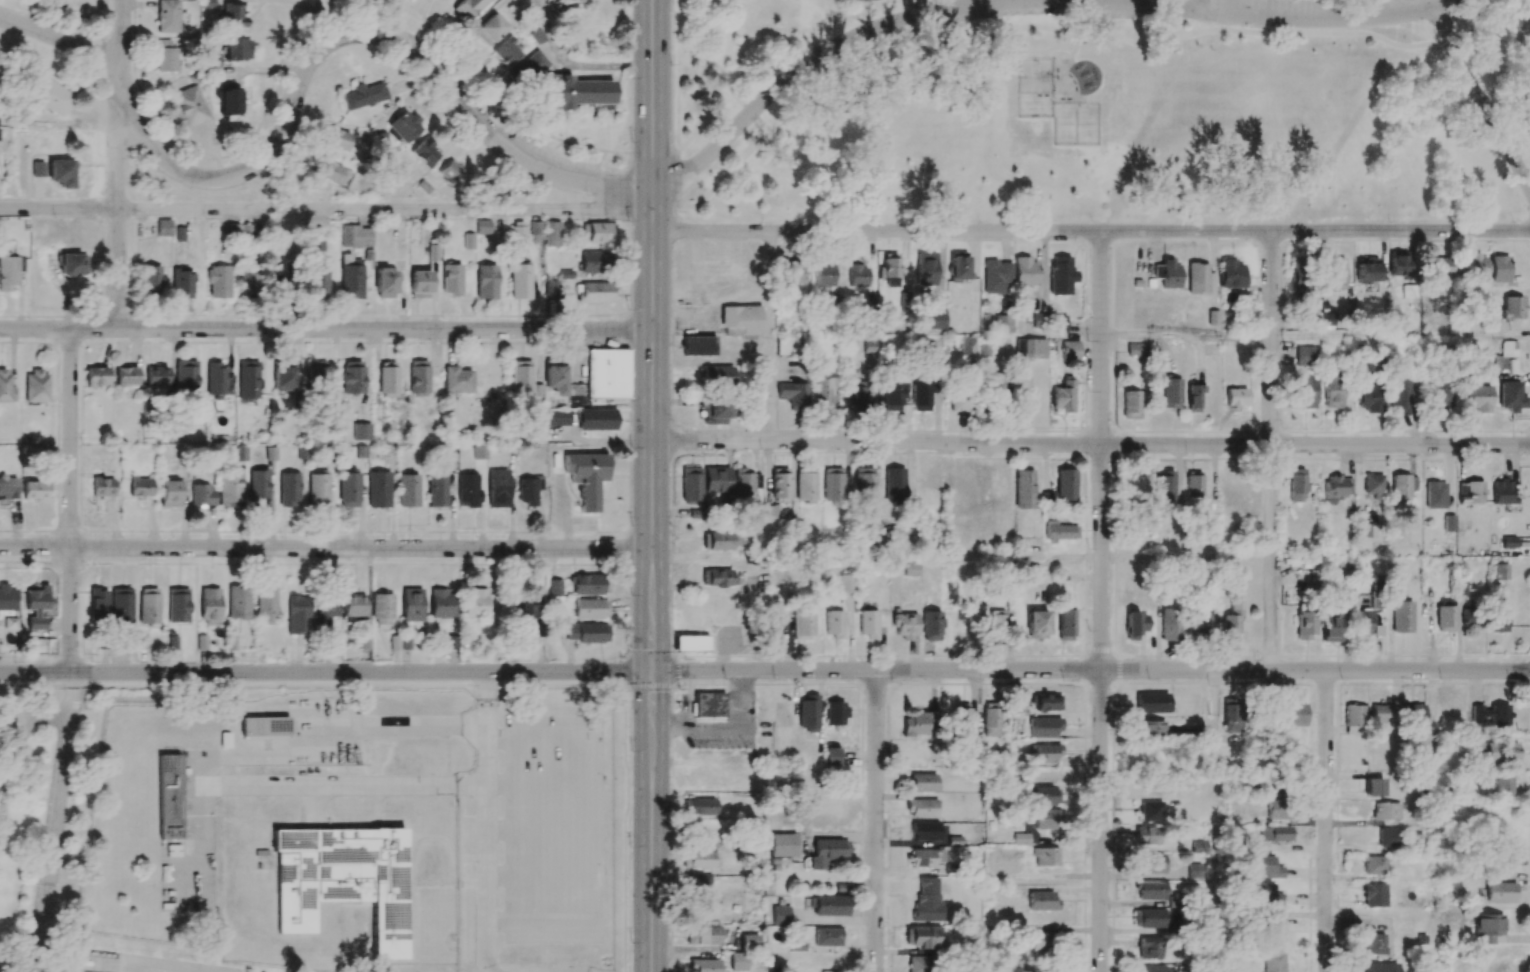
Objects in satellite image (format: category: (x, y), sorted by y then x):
road: (1014, 1)
park: (1353, 1)
road: (1124, 2)
road: (1452, 4)
road: (1210, 6)
road: (921, 7)
building: (468, 8)
parking lot: (1023, 10)
parking lot: (1292, 10)
building: (234, 15)
building: (167, 16)
street lamp: (395, 22)
building: (489, 29)
street lamp: (1434, 30)
road: (1116, 34)
street lamp: (822, 42)
road: (1075, 47)
building: (237, 49)
building: (506, 52)
building: (165, 56)
road: (574, 64)
street lamp: (671, 64)
building: (215, 66)
building: (531, 66)
road: (300, 77)
road: (704, 77)
building: (574, 92)
building: (364, 96)
building: (54, 97)
road: (737, 97)
road: (1482, 100)
road: (651, 102)
building: (229, 103)
park: (1053, 105)
building: (187, 107)
park: (1101, 111)
road: (672, 117)
building: (404, 126)
building: (334, 139)
street lamp: (632, 141)
building: (425, 152)
street lamp: (499, 161)
road: (118, 164)
building: (61, 172)
building: (331, 173)
building: (450, 173)
street lamp: (1516, 185)
street lamp: (587, 195)
road: (325, 209)
street lamp: (678, 210)
street lamp: (1277, 217)
street lamp: (980, 220)
street lamp: (1091, 220)
street lamp: (1388, 220)
street lamp: (628, 221)
street lamp: (1183, 221)
street lamp: (1512, 221)
street lamp: (762, 222)
street lamp: (871, 222)
building: (163, 227)
building: (483, 227)
building: (536, 228)
road: (1085, 230)
building: (518, 231)
building: (247, 232)
building: (597, 232)
building: (552, 233)
building: (356, 236)
building: (469, 240)
building: (316, 244)
building: (591, 261)
building: (1398, 263)
building: (72, 264)
building: (958, 265)
building: (1440, 267)
building: (1474, 267)
building: (925, 269)
building: (1499, 269)
building: (10, 270)
building: (889, 270)
building: (1368, 270)
building: (1025, 271)
building: (724, 272)
building: (791, 272)
building: (1167, 273)
building: (1334, 273)
building: (824, 274)
building: (1230, 274)
building: (858, 275)
building: (1061, 275)
building: (1298, 275)
building: (996, 276)
building: (283, 277)
building: (1196, 278)
building: (452, 279)
building: (151, 280)
building: (352, 280)
building: (219, 281)
building: (319, 281)
building: (486, 281)
building: (520, 281)
building: (249, 283)
building: (385, 283)
building: (182, 284)
building: (420, 284)
building: (550, 287)
building: (595, 292)
street lamp: (629, 305)
building: (1512, 307)
building: (936, 319)
building: (1326, 319)
building: (741, 320)
road: (769, 321)
building: (1003, 323)
building: (1060, 323)
road: (326, 329)
road: (1185, 333)
road: (1399, 333)
street lamp: (1091, 338)
building: (698, 345)
building: (968, 345)
building: (789, 346)
building: (1030, 348)
building: (1509, 348)
building: (1136, 350)
building: (1070, 351)
building: (1304, 356)
building: (607, 374)
building: (717, 374)
building: (317, 375)
building: (95, 376)
building: (126, 376)
building: (156, 376)
building: (186, 376)
building: (284, 376)
building: (554, 376)
building: (352, 377)
building: (418, 377)
building: (388, 379)
building: (458, 379)
building: (216, 380)
building: (248, 380)
building: (524, 382)
building: (4, 385)
building: (36, 386)
building: (999, 389)
building: (824, 392)
building: (1169, 392)
building: (1304, 392)
building: (1332, 392)
building: (855, 393)
building: (1441, 393)
building: (793, 395)
building: (893, 396)
building: (924, 396)
building: (1400, 396)
building: (1511, 396)
building: (1063, 397)
building: (1192, 397)
building: (1234, 397)
building: (1479, 398)
building: (1369, 399)
building: (960, 400)
building: (1130, 404)
building: (715, 411)
building: (557, 418)
building: (596, 419)
street lamp: (675, 424)
building: (361, 431)
road: (652, 438)
road: (1090, 444)
street lamp: (720, 449)
road: (1270, 449)
building: (479, 452)
street lamp: (979, 453)
street lamp: (1188, 454)
street lamp: (1088, 463)
building: (587, 477)
building: (715, 480)
building: (864, 482)
building: (805, 484)
building: (894, 484)
building: (1192, 484)
building: (690, 485)
building: (745, 485)
building: (779, 485)
building: (1065, 485)
building: (1297, 485)
building: (1373, 485)
building: (102, 486)
building: (833, 486)
building: (1163, 486)
building: (8, 487)
building: (140, 487)
building: (258, 488)
building: (289, 488)
building: (436, 488)
building: (497, 488)
building: (1337, 488)
building: (1399, 488)
building: (349, 489)
building: (378, 489)
building: (1023, 489)
building: (34, 490)
building: (229, 490)
building: (319, 490)
building: (408, 490)
building: (468, 490)
building: (528, 490)
building: (1470, 492)
building: (1502, 492)
building: (169, 493)
building: (201, 494)
building: (1435, 495)
building: (1048, 496)
road: (70, 500)
building: (770, 512)
building: (1449, 523)
street lamp: (632, 524)
building: (1059, 532)
building: (721, 541)
building: (1508, 542)
road: (326, 547)
building: (1344, 569)
building: (1501, 571)
building: (718, 578)
building: (589, 584)
building: (847, 584)
building: (554, 587)
building: (7, 598)
building: (1375, 599)
road: (1100, 600)
building: (238, 602)
building: (441, 603)
building: (475, 603)
building: (98, 604)
building: (412, 604)
building: (121, 605)
building: (178, 605)
building: (266, 605)
building: (149, 606)
building: (210, 606)
building: (528, 606)
building: (35, 608)
building: (354, 608)
building: (382, 609)
building: (590, 609)
building: (326, 611)
building: (297, 613)
building: (1445, 616)
building: (1402, 617)
building: (1499, 617)
building: (1470, 618)
building: (1232, 620)
building: (1305, 622)
building: (1363, 622)
building: (1000, 623)
building: (834, 624)
building: (868, 624)
building: (1036, 624)
building: (1170, 624)
building: (1199, 624)
building: (905, 625)
building: (931, 625)
building: (1064, 625)
building: (1134, 625)
building: (801, 626)
building: (1330, 626)
building: (538, 631)
building: (586, 632)
building: (450, 642)
building: (691, 643)
road: (677, 655)
road: (1090, 670)
road: (325, 671)
traffic signals: (651, 671)
building: (1046, 702)
building: (1151, 702)
building: (708, 704)
building: (1017, 705)
building: (808, 713)
building: (1291, 713)
building: (835, 714)
building: (1380, 714)
building: (962, 715)
building: (1231, 715)
building: (1414, 715)
building: (1493, 715)
building: (991, 719)
building: (1354, 719)
building: (918, 723)
building: (264, 726)
building: (1043, 727)
road: (23, 729)
building: (1148, 729)
building: (1500, 752)
building: (1043, 753)
building: (833, 756)
building: (1044, 776)
building: (923, 782)
building: (1502, 785)
building: (1374, 787)
building: (1045, 796)
building: (169, 797)
building: (829, 805)
building: (699, 806)
building: (922, 808)
building: (1278, 809)
building: (1150, 811)
building: (1386, 811)
building: (1045, 818)
road: (51, 821)
road: (651, 821)
road: (874, 821)
road: (1214, 821)
road: (1324, 821)
road: (486, 822)
building: (924, 831)
building: (1275, 833)
building: (1146, 835)
building: (1390, 837)
building: (1020, 838)
road: (41, 844)
building: (1198, 846)
building: (781, 848)
building: (173, 850)
building: (827, 852)
building: (926, 857)
building: (1045, 857)
building: (699, 859)
building: (1150, 863)
building: (1374, 865)
building: (1265, 867)
building: (344, 880)
building: (698, 881)
building: (1150, 889)
building: (1500, 892)
building: (1263, 894)
building: (1374, 895)
building: (1041, 901)
building: (829, 905)
building: (780, 915)
building: (1149, 918)
building: (1275, 926)
building: (1487, 928)
building: (703, 935)
building: (827, 937)
building: (921, 937)
building: (1041, 941)
building: (749, 942)
building: (1375, 944)
building: (1149, 948)
road: (155, 961)
building: (738, 961)
building: (1273, 962)
building: (917, 964)
building: (704, 965)
road: (140, 966)
building: (1378, 967)
building: (1148, 968)
road: (189, 969)

